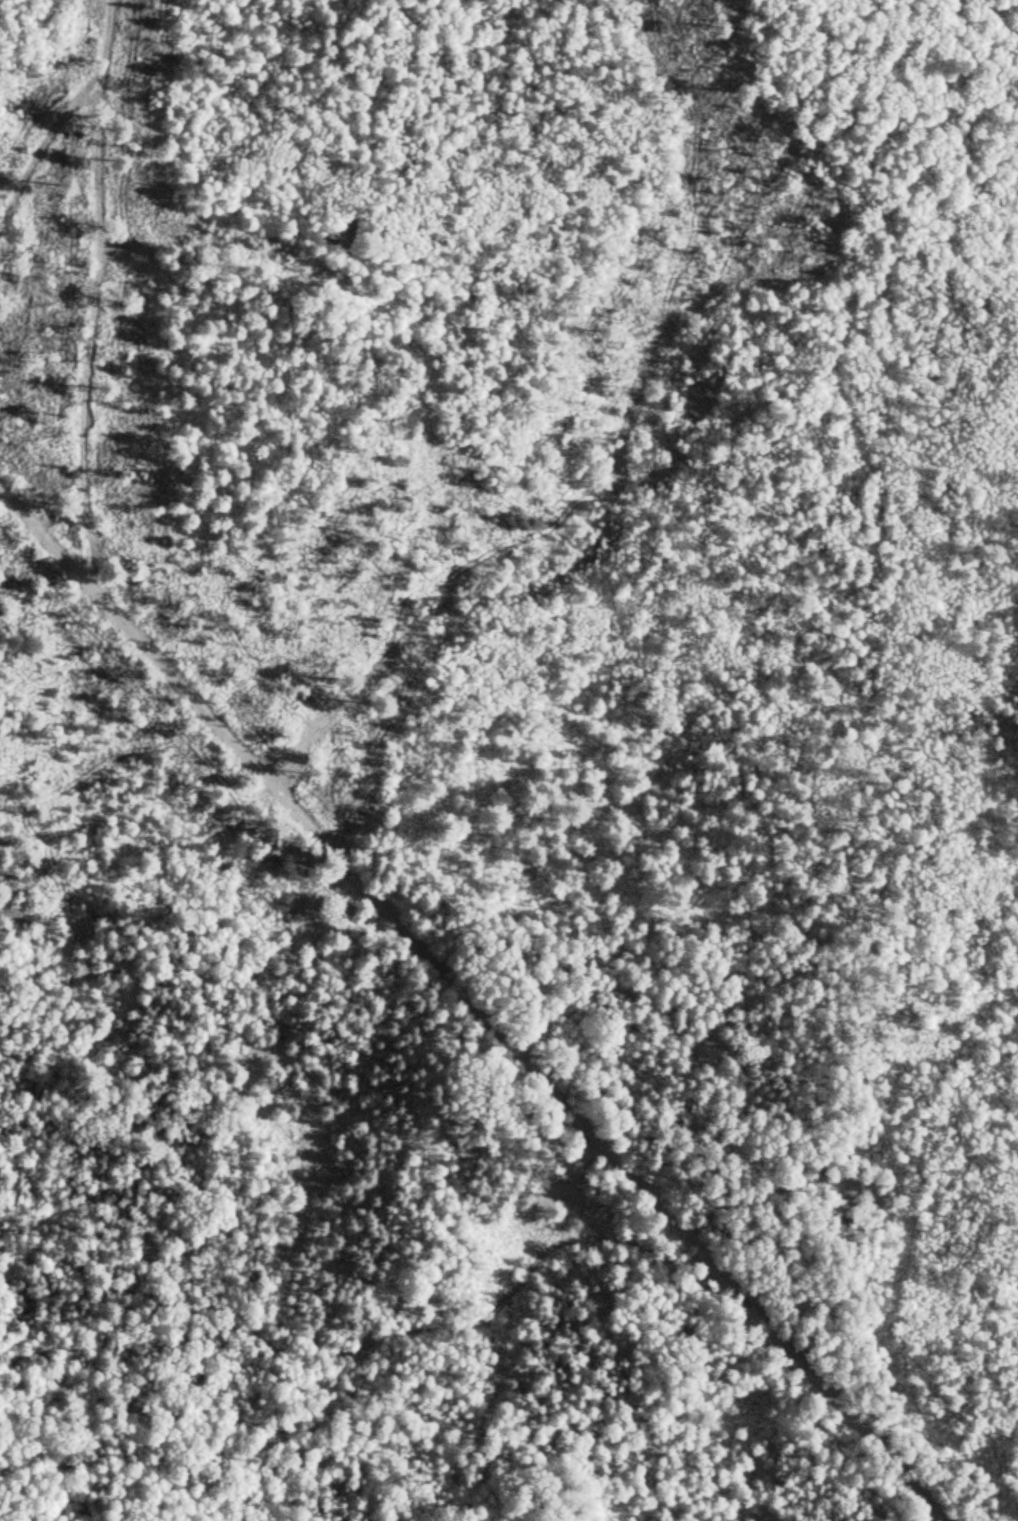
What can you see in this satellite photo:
road: (122, 305)
road: (513, 589)
road: (473, 1003)
road: (376, 1330)

